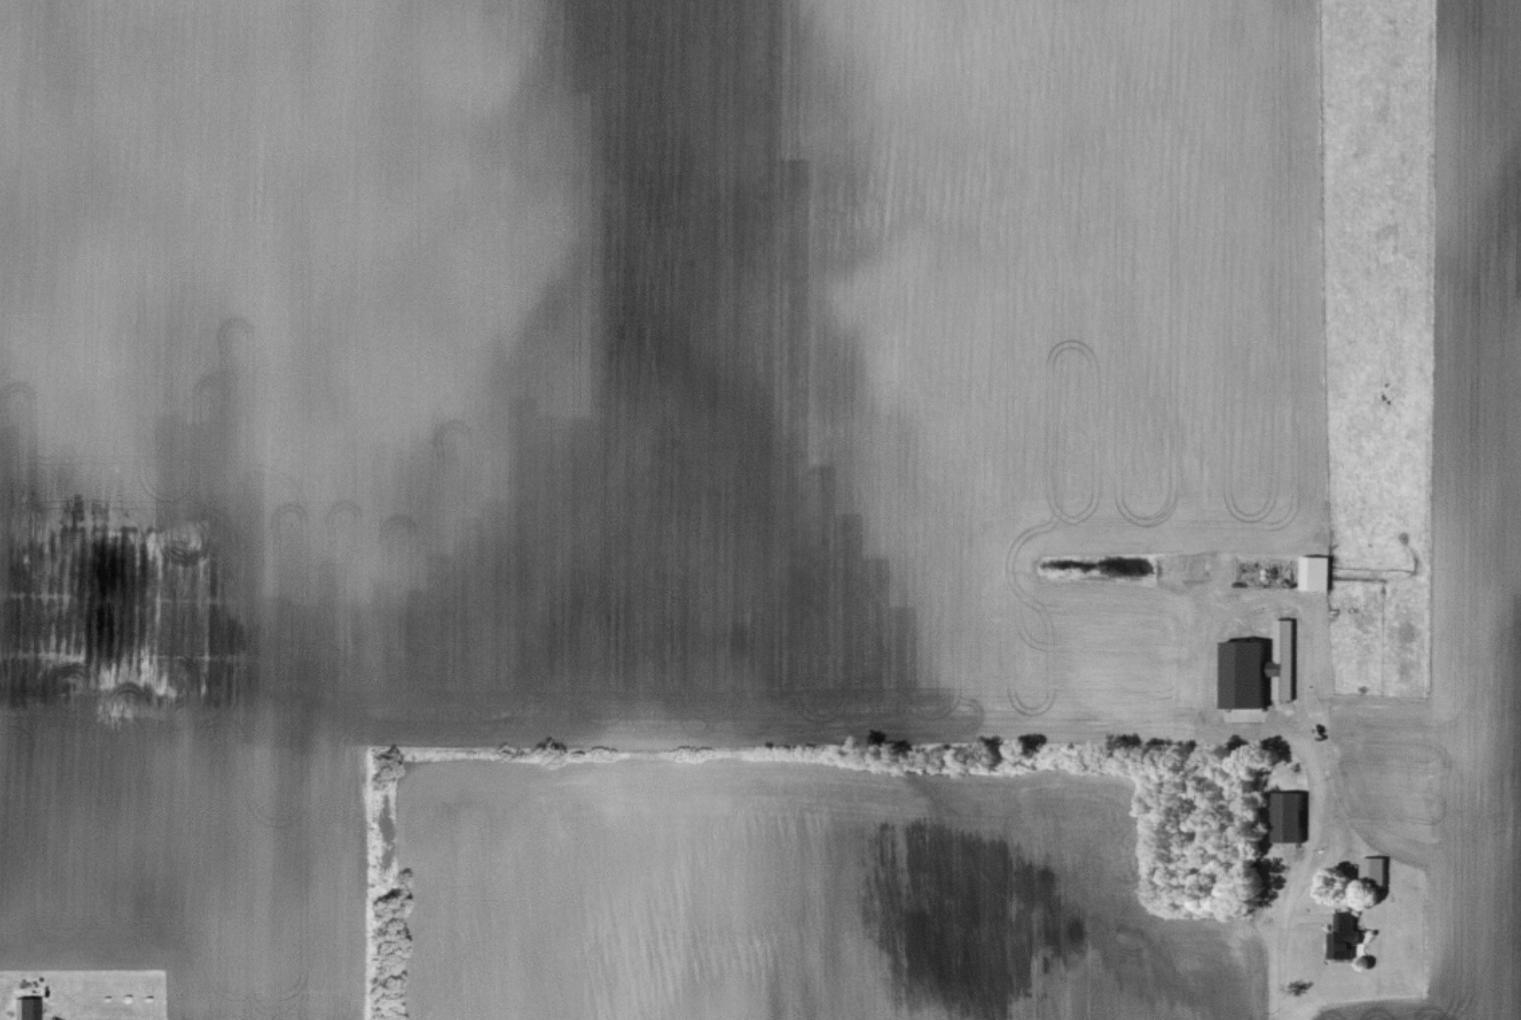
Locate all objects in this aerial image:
building: (1248, 668)
building: (1290, 835)
road: (1334, 839)
road: (1312, 843)
road: (1282, 979)

